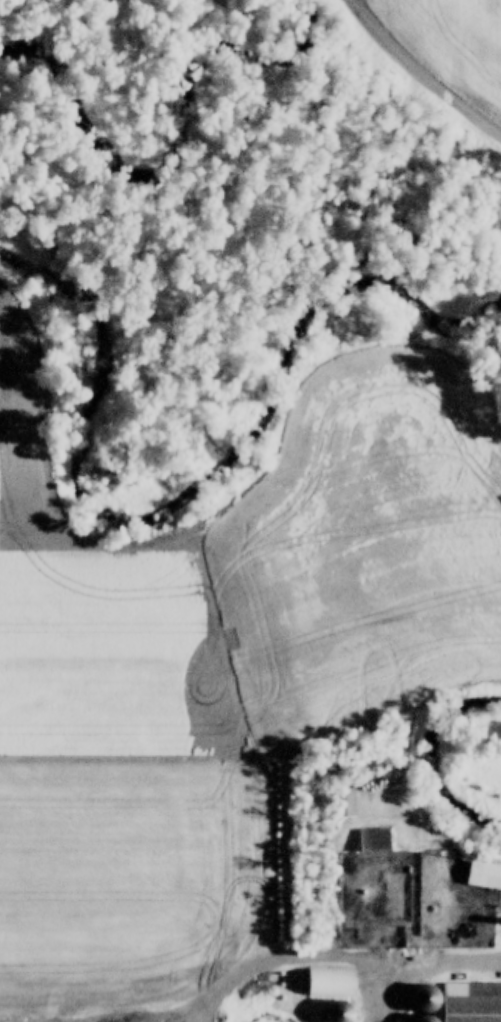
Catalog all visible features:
building: (476, 704)
building: (344, 803)
building: (373, 841)
building: (483, 877)
road: (412, 960)
building: (329, 982)
building: (470, 1002)
building: (334, 1012)

